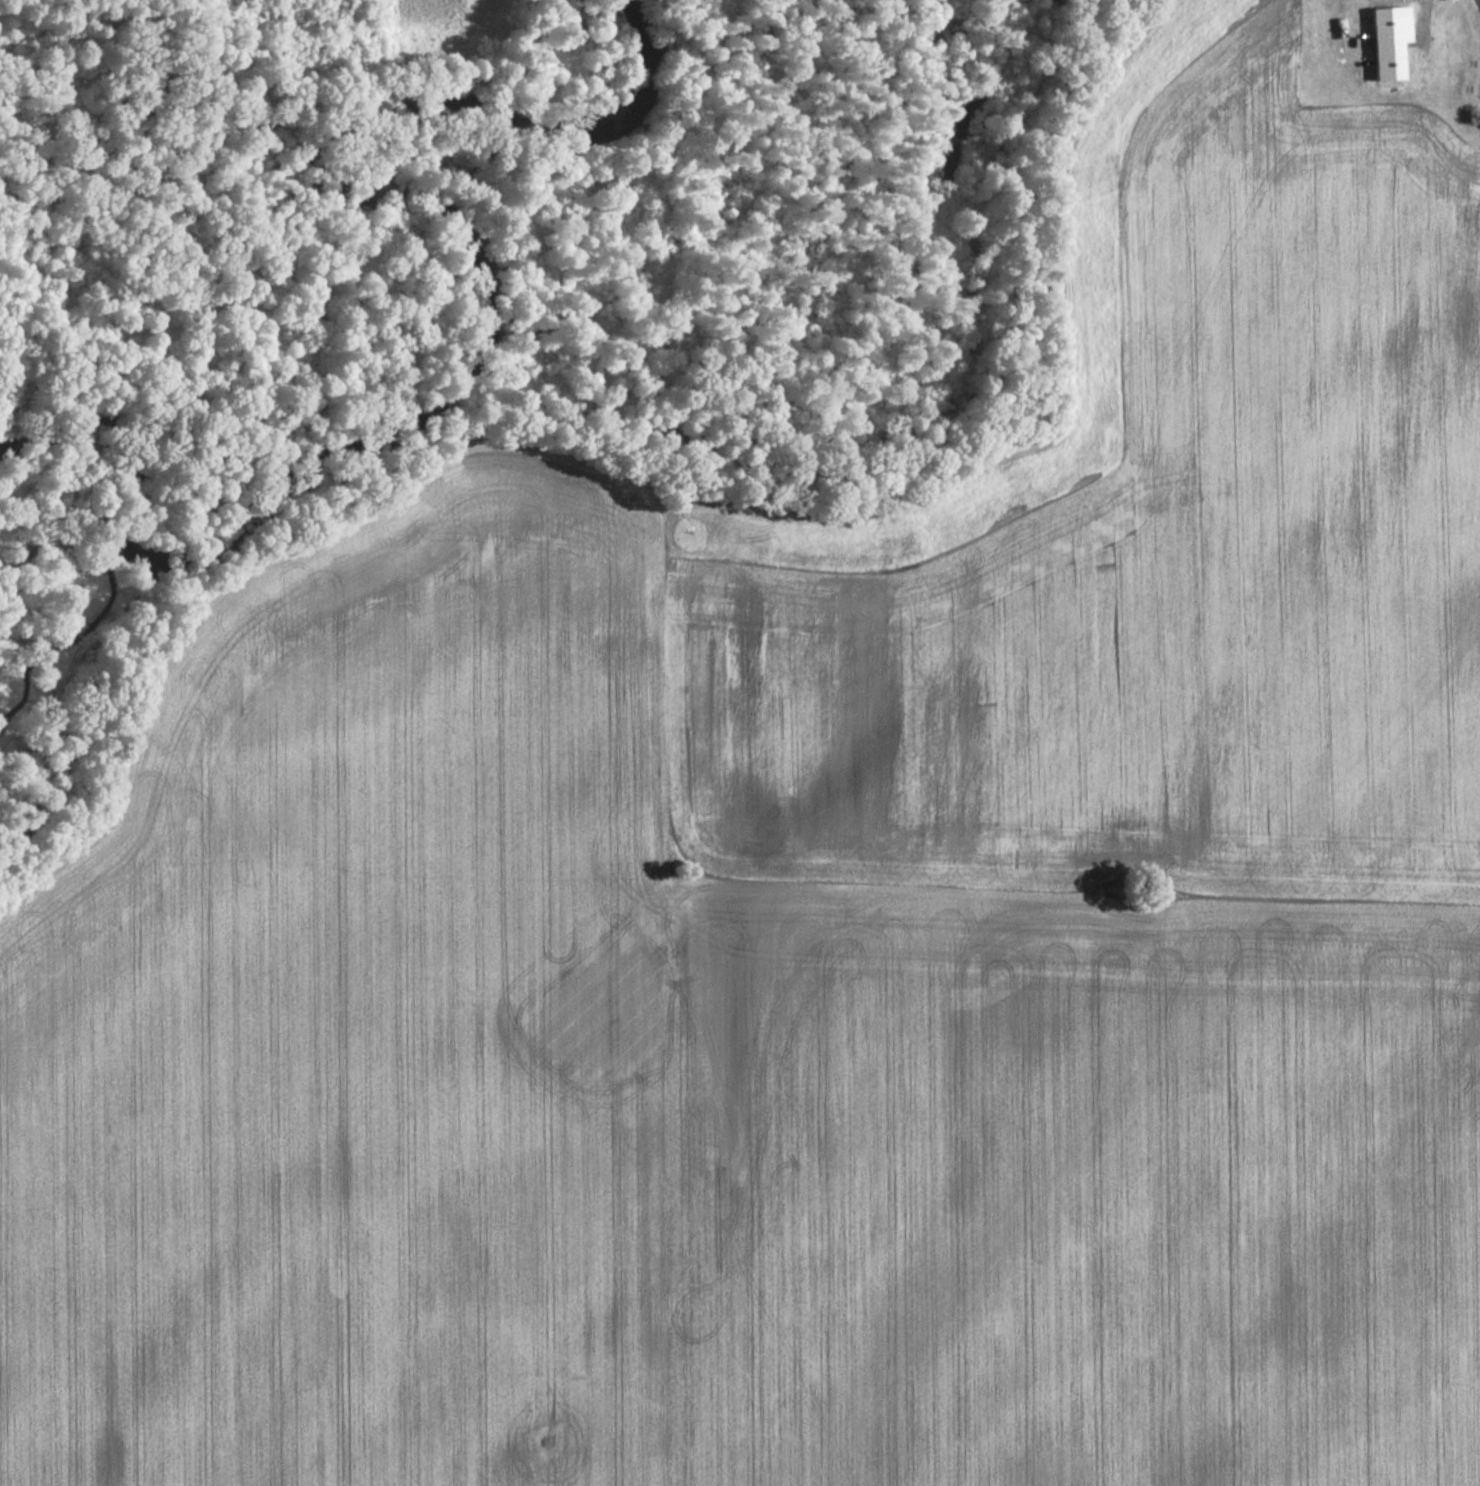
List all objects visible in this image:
road: (1416, 18)
crop: (453, 28)
building: (1386, 41)
crop: (1144, 553)
crop: (677, 1100)

